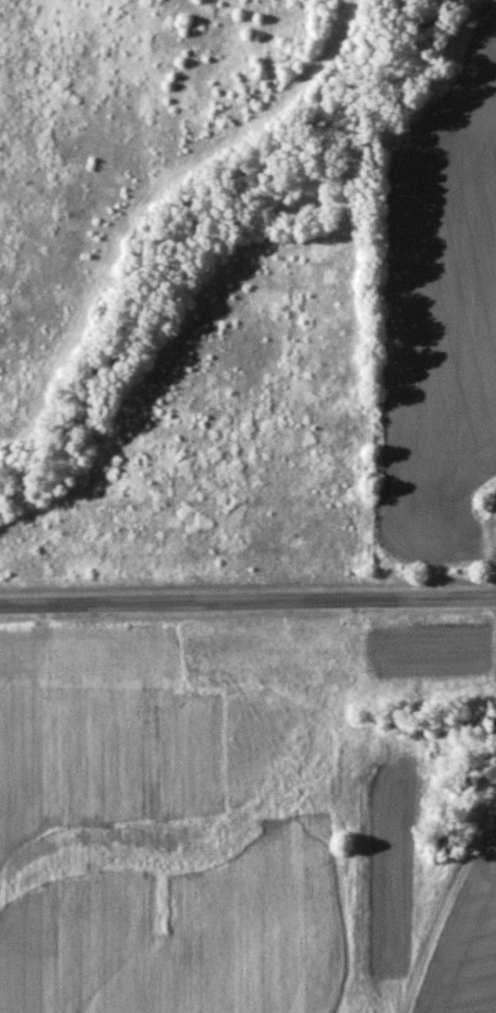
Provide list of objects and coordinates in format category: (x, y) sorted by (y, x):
road: (248, 600)

